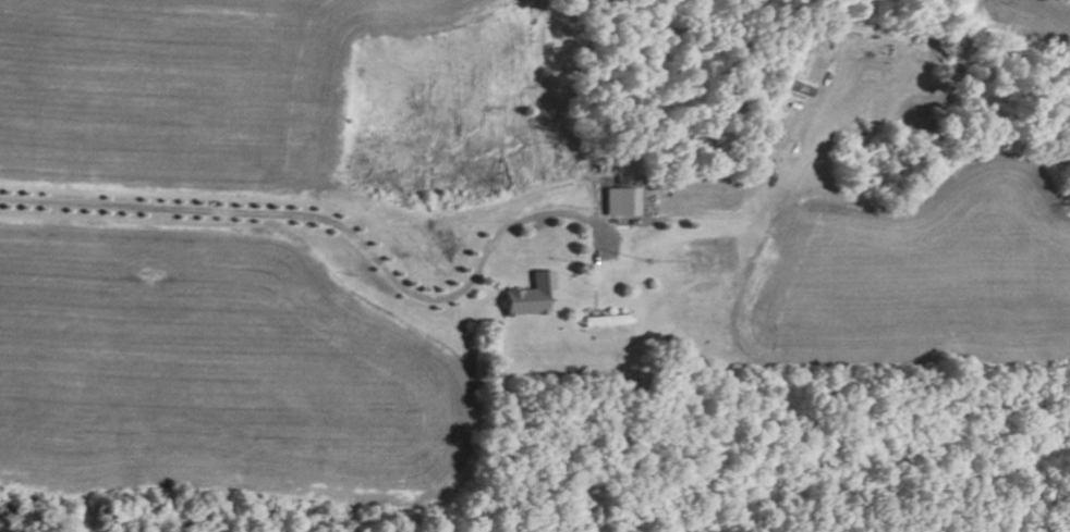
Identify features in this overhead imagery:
building: (625, 200)
building: (534, 295)

